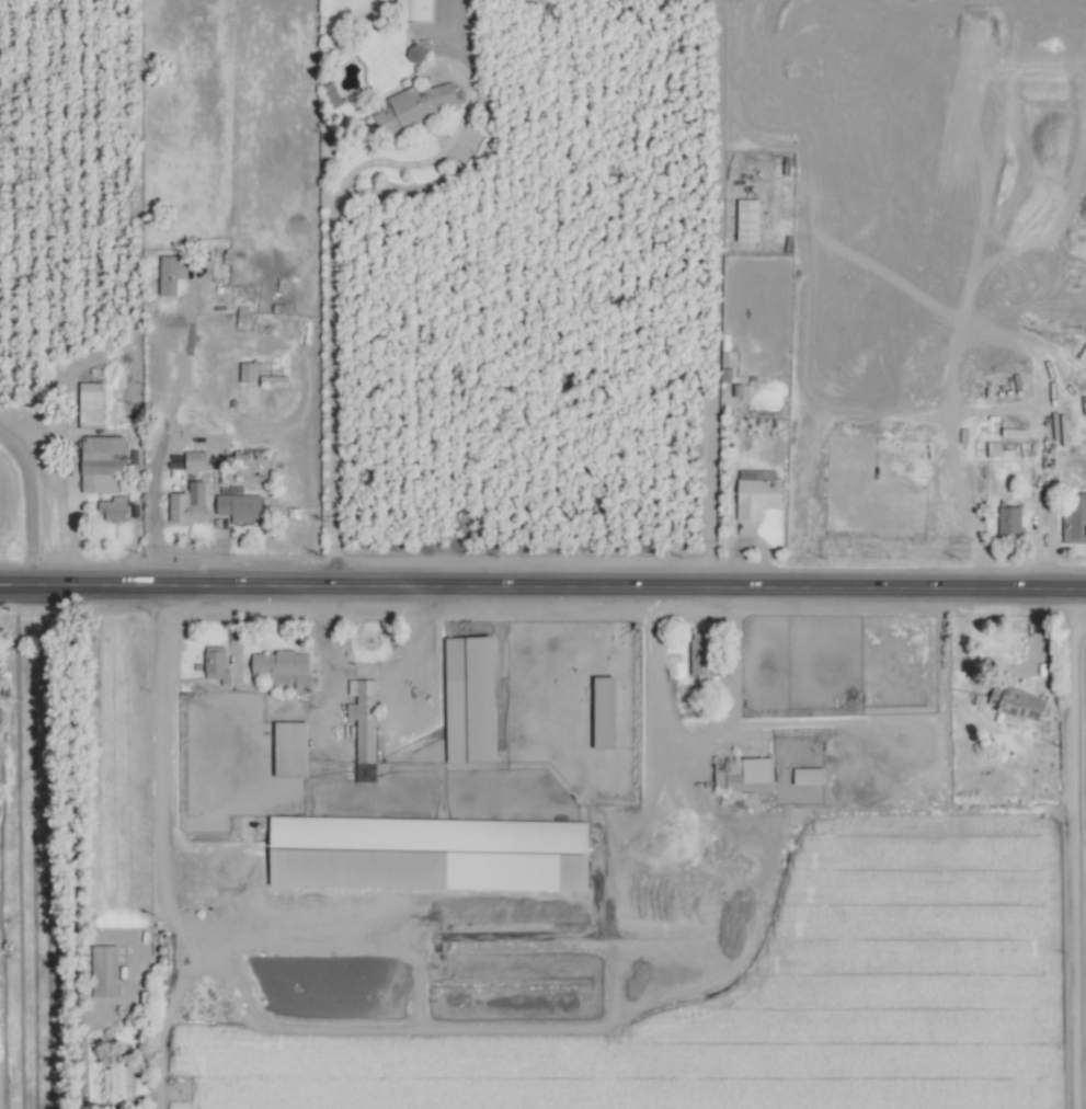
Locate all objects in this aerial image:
building: (415, 9)
building: (413, 105)
building: (748, 219)
building: (171, 272)
road: (330, 311)
building: (250, 370)
road: (821, 400)
building: (91, 403)
building: (994, 448)
building: (104, 459)
building: (196, 459)
building: (758, 492)
building: (188, 503)
road: (28, 505)
building: (240, 505)
building: (113, 507)
building: (1075, 517)
building: (1010, 521)
road: (1043, 542)
crop: (542, 554)
road: (542, 585)
building: (701, 652)
building: (217, 664)
building: (284, 667)
road: (1001, 670)
building: (1017, 702)
building: (291, 747)
building: (751, 775)
crop: (529, 789)
road: (1064, 848)
road: (163, 854)
building: (104, 970)
building: (118, 1082)

